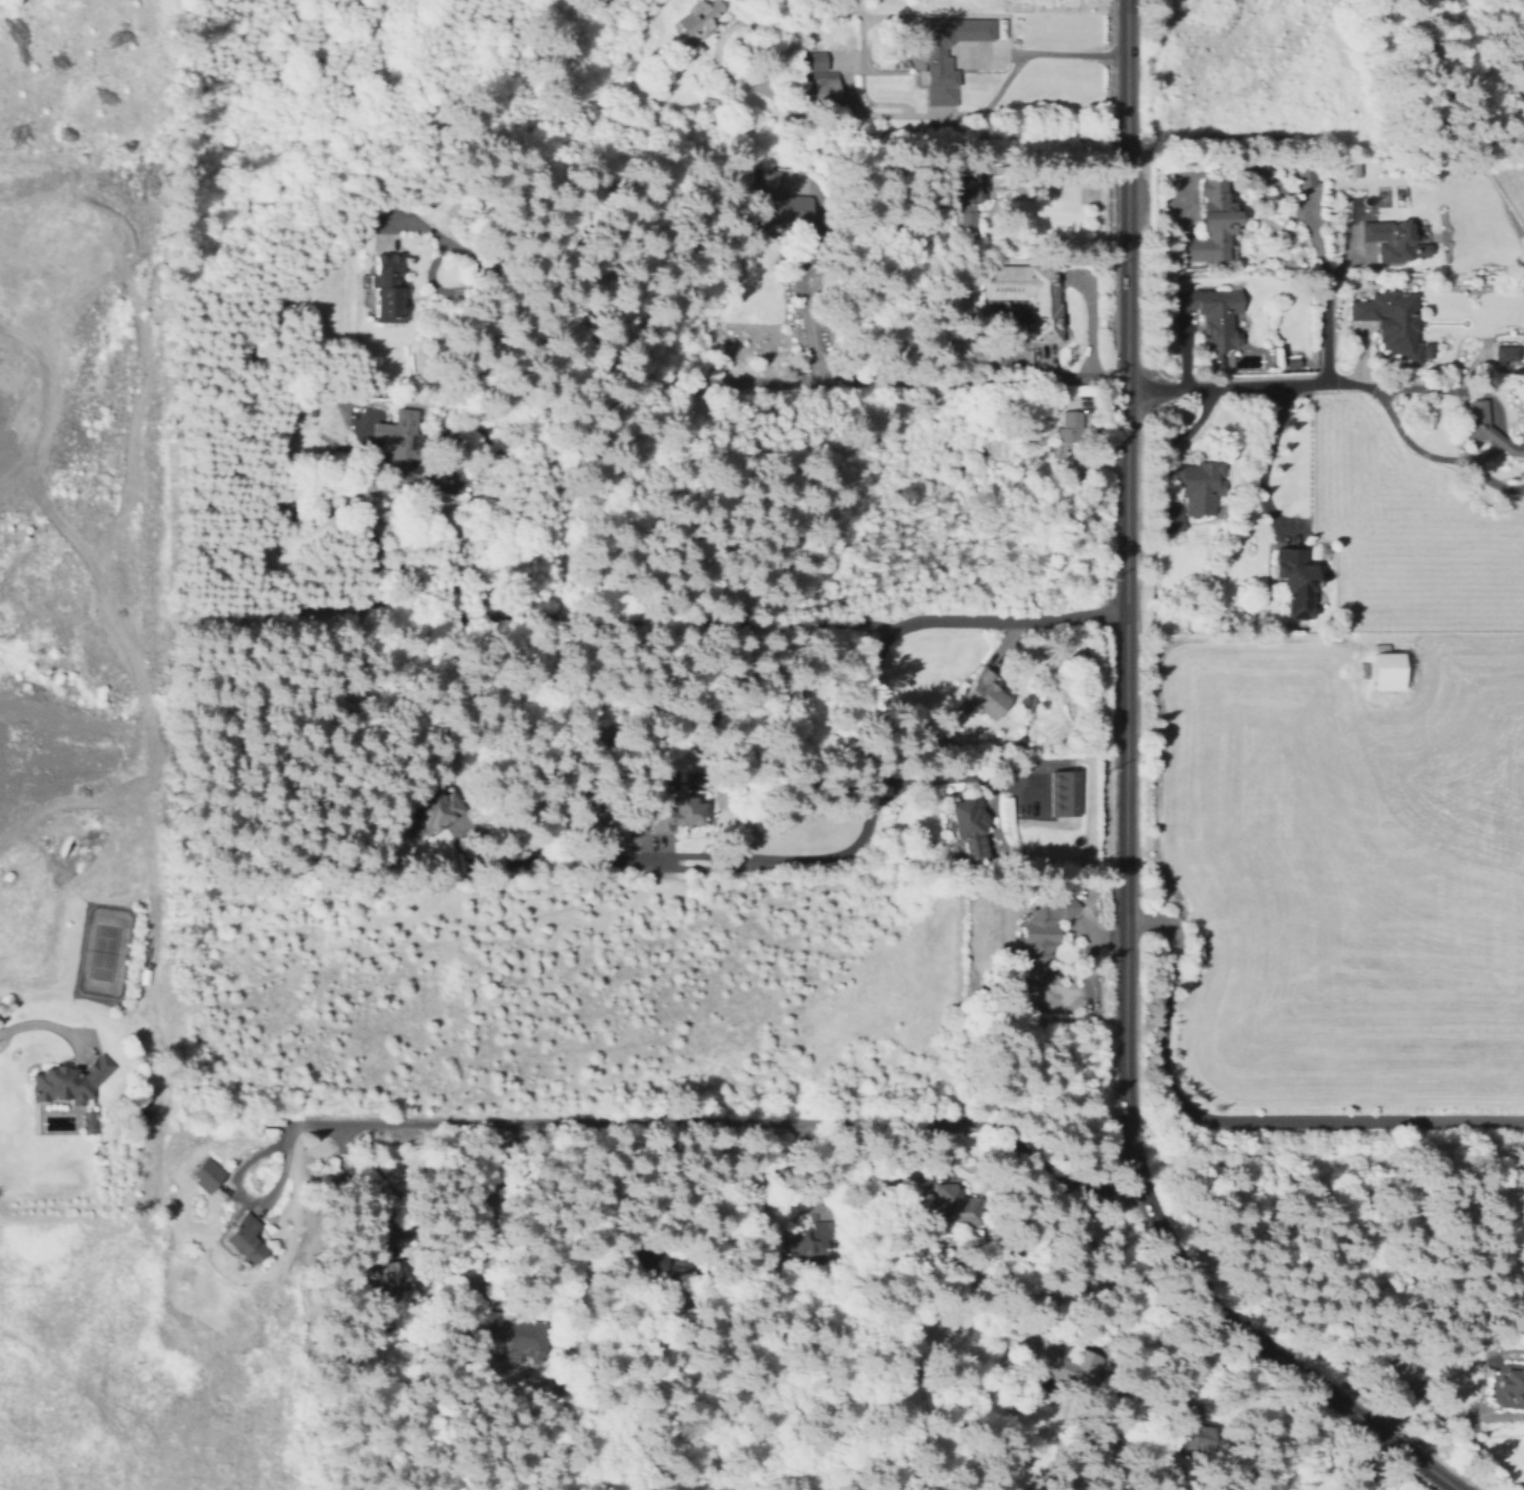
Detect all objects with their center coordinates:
building: (696, 18)
crop: (123, 31)
building: (812, 60)
building: (940, 67)
building: (825, 92)
road: (919, 116)
road: (1055, 162)
building: (1356, 170)
building: (1306, 174)
crop: (1508, 178)
building: (961, 188)
road: (1286, 193)
building: (779, 204)
building: (967, 222)
building: (1210, 223)
building: (1392, 239)
building: (382, 284)
building: (1028, 295)
building: (1213, 316)
building: (1393, 321)
building: (1429, 351)
building: (1507, 354)
building: (1292, 362)
road: (562, 374)
road: (919, 384)
road: (1301, 384)
road: (1453, 389)
building: (1068, 427)
building: (1486, 429)
road: (1404, 435)
road: (1499, 439)
building: (398, 444)
road: (1265, 456)
building: (1200, 485)
building: (1173, 516)
crop: (1408, 530)
building: (1295, 582)
road: (1126, 592)
road: (574, 623)
building: (1384, 671)
building: (984, 695)
road: (945, 777)
building: (1063, 794)
road: (871, 797)
building: (678, 810)
building: (432, 811)
building: (968, 829)
crop: (1330, 870)
building: (1047, 922)
park: (104, 952)
road: (45, 1023)
building: (72, 1081)
road: (1237, 1118)
building: (89, 1122)
road: (718, 1124)
building: (209, 1172)
road: (368, 1182)
building: (816, 1203)
building: (946, 1206)
road: (483, 1207)
building: (244, 1239)
building: (807, 1239)
building: (648, 1261)
building: (383, 1277)
road: (1060, 1333)
building: (506, 1335)
road: (1276, 1357)
building: (1064, 1367)
building: (1509, 1385)
road: (1449, 1416)
building: (1187, 1432)
building: (1367, 1489)

